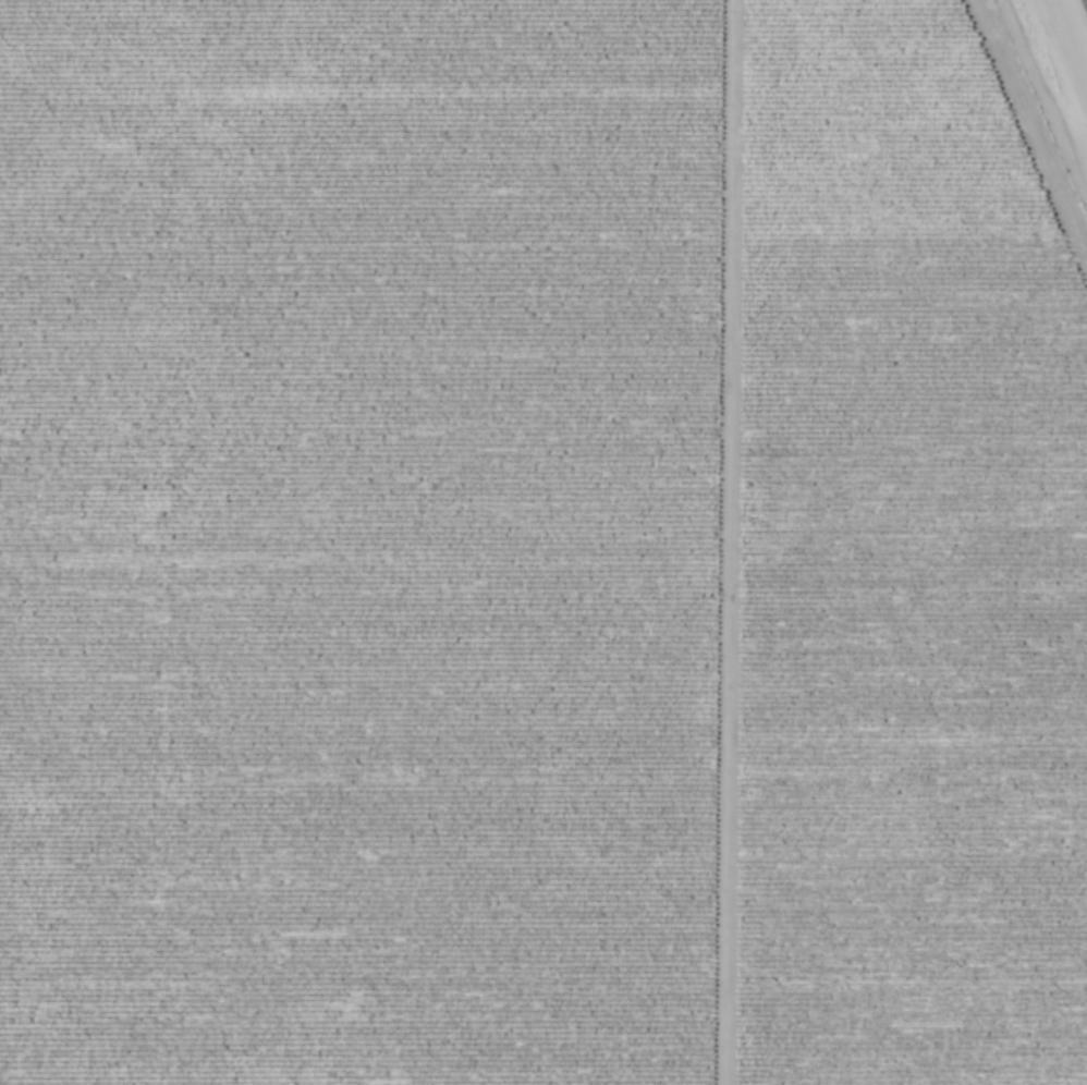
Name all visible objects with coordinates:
railway: (1075, 26)
railway: (1071, 38)
crop: (355, 540)
road: (722, 542)
crop: (901, 570)

